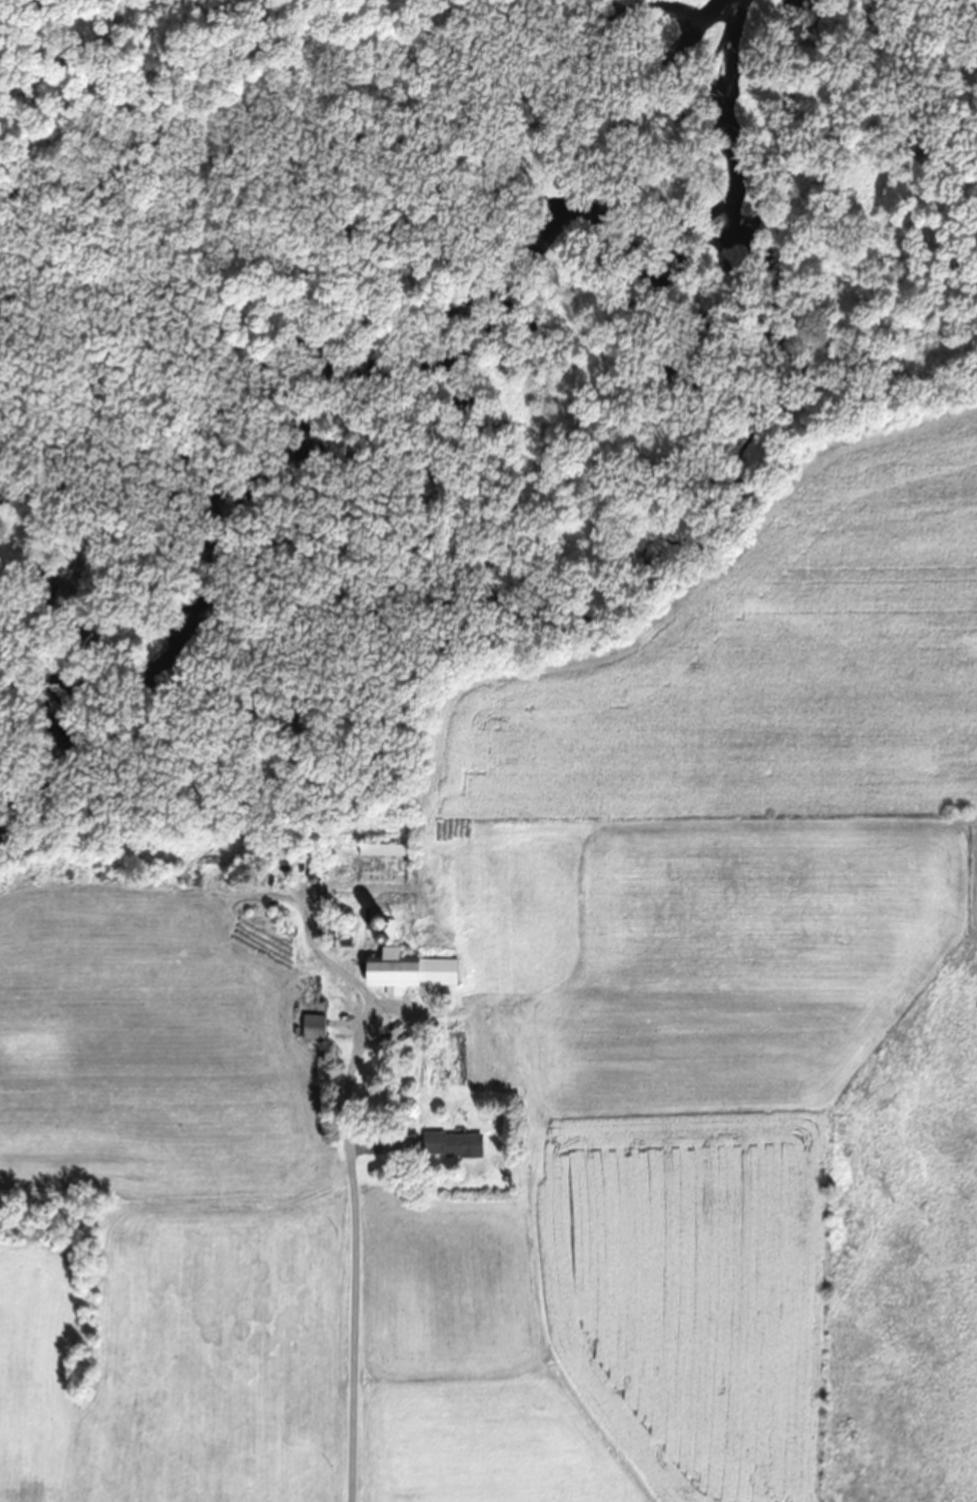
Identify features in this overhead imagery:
building: (380, 850)
building: (406, 971)
building: (312, 1027)
building: (450, 1145)
road: (353, 1264)

